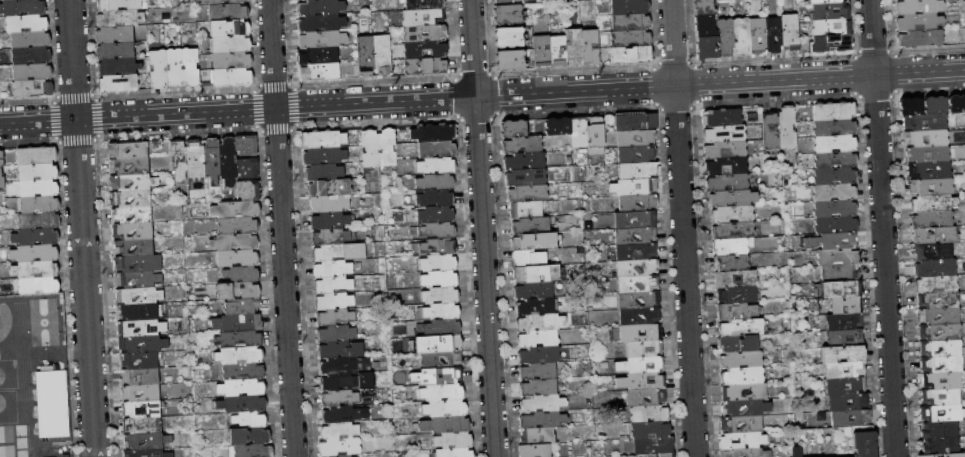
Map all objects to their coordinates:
building: (8, 0)
building: (300, 0)
building: (224, 2)
building: (514, 2)
building: (825, 2)
building: (424, 4)
building: (119, 5)
building: (629, 7)
building: (919, 7)
building: (964, 7)
building: (23, 8)
building: (320, 8)
building: (704, 8)
building: (831, 11)
building: (228, 13)
building: (508, 15)
building: (424, 17)
building: (120, 18)
building: (631, 23)
building: (919, 23)
building: (27, 24)
building: (321, 24)
building: (704, 26)
building: (832, 27)
building: (231, 29)
building: (790, 32)
building: (425, 34)
building: (115, 35)
building: (757, 36)
building: (774, 36)
building: (725, 37)
building: (742, 37)
building: (509, 38)
building: (631, 39)
building: (920, 39)
building: (30, 40)
building: (322, 40)
building: (832, 43)
building: (232, 45)
building: (574, 47)
building: (590, 47)
building: (706, 48)
building: (426, 50)
building: (542, 51)
building: (558, 51)
road: (929, 51)
building: (115, 52)
road: (874, 52)
road: (892, 53)
road: (854, 54)
building: (382, 55)
building: (632, 55)
building: (31, 56)
building: (318, 56)
building: (365, 56)
road: (773, 60)
building: (232, 61)
building: (510, 61)
road: (673, 64)
road: (691, 64)
road: (654, 65)
building: (117, 67)
building: (426, 67)
building: (191, 68)
building: (174, 69)
building: (158, 70)
road: (574, 71)
building: (32, 72)
building: (320, 73)
road: (894, 73)
road: (474, 74)
road: (493, 75)
road: (855, 75)
building: (233, 77)
road: (455, 77)
road: (374, 82)
building: (118, 83)
road: (694, 84)
road: (274, 85)
road: (292, 86)
road: (255, 87)
road: (655, 87)
building: (33, 89)
road: (930, 90)
road: (174, 93)
road: (894, 93)
road: (495, 95)
road: (857, 95)
road: (92, 96)
road: (482, 96)
road: (876, 96)
road: (74, 97)
road: (55, 98)
road: (457, 98)
road: (776, 99)
road: (27, 101)
building: (956, 104)
road: (694, 105)
building: (935, 105)
road: (294, 106)
road: (657, 107)
road: (675, 107)
building: (911, 107)
road: (256, 109)
building: (832, 109)
road: (576, 111)
building: (721, 115)
road: (495, 116)
road: (95, 117)
road: (476, 117)
road: (458, 118)
road: (56, 120)
road: (377, 122)
building: (925, 122)
building: (833, 125)
road: (295, 127)
building: (785, 127)
road: (276, 128)
road: (258, 129)
building: (555, 129)
building: (722, 130)
building: (769, 130)
building: (511, 131)
building: (593, 132)
road: (177, 133)
building: (430, 134)
building: (576, 134)
building: (633, 136)
road: (95, 138)
building: (927, 138)
road: (58, 140)
road: (76, 140)
building: (320, 140)
road: (28, 141)
building: (834, 141)
building: (521, 146)
building: (724, 146)
building: (244, 147)
building: (385, 148)
building: (369, 150)
building: (434, 150)
building: (126, 151)
building: (634, 151)
building: (928, 155)
building: (321, 156)
building: (34, 157)
building: (835, 158)
building: (225, 159)
building: (194, 160)
building: (210, 160)
building: (523, 161)
building: (177, 162)
building: (725, 163)
building: (435, 166)
building: (635, 167)
building: (126, 169)
building: (245, 169)
building: (930, 171)
building: (322, 172)
building: (34, 173)
building: (1, 175)
building: (833, 175)
building: (524, 179)
building: (726, 179)
building: (431, 183)
building: (633, 183)
building: (127, 185)
building: (943, 187)
building: (35, 189)
building: (327, 190)
building: (833, 191)
building: (247, 192)
building: (524, 195)
building: (731, 195)
building: (635, 199)
building: (432, 200)
building: (128, 202)
building: (934, 204)
building: (35, 205)
building: (327, 206)
building: (833, 206)
building: (524, 210)
building: (233, 211)
building: (729, 211)
building: (433, 216)
building: (631, 216)
building: (129, 217)
building: (933, 219)
building: (36, 221)
building: (328, 222)
building: (528, 223)
building: (834, 223)
building: (236, 227)
building: (729, 227)
road: (81, 228)
road: (281, 228)
road: (482, 228)
road: (682, 228)
road: (883, 228)
building: (434, 231)
building: (631, 232)
building: (129, 233)
building: (935, 236)
building: (32, 237)
building: (329, 238)
building: (531, 238)
building: (836, 239)
building: (731, 243)
building: (237, 244)
building: (434, 247)
building: (131, 249)
building: (633, 249)
building: (934, 252)
building: (33, 253)
building: (335, 255)
building: (527, 256)
building: (836, 256)
building: (729, 259)
building: (238, 260)
building: (136, 265)
building: (435, 265)
building: (633, 266)
building: (936, 268)
building: (33, 269)
building: (329, 271)
building: (837, 271)
building: (527, 272)
building: (237, 276)
building: (733, 276)
building: (137, 281)
building: (436, 282)
building: (634, 283)
building: (34, 285)
building: (937, 285)
building: (838, 286)
building: (330, 288)
building: (532, 289)
building: (238, 292)
building: (734, 293)
building: (138, 297)
building: (437, 298)
building: (634, 298)
building: (949, 301)
building: (330, 303)
building: (844, 303)
building: (533, 305)
building: (734, 309)
building: (240, 310)
building: (136, 314)
building: (438, 314)
building: (636, 315)
building: (950, 317)
building: (333, 319)
building: (841, 319)
park: (4, 320)
building: (533, 321)
park: (43, 322)
building: (737, 325)
building: (240, 327)
building: (140, 329)
building: (438, 331)
building: (637, 331)
building: (951, 333)
building: (334, 335)
building: (842, 335)
building: (534, 337)
building: (725, 342)
building: (744, 342)
building: (236, 343)
building: (141, 346)
building: (439, 346)
building: (640, 347)
building: (952, 349)
building: (337, 352)
building: (840, 352)
building: (535, 353)
building: (736, 357)
building: (237, 359)
building: (138, 362)
building: (439, 363)
building: (641, 363)
building: (953, 366)
building: (340, 367)
building: (536, 369)
building: (841, 369)
building: (240, 374)
building: (737, 374)
building: (139, 378)
building: (638, 380)
building: (438, 381)
building: (942, 381)
building: (342, 384)
building: (842, 385)
building: (536, 386)
building: (739, 390)
building: (241, 391)
building: (140, 395)
building: (642, 396)
building: (438, 397)
building: (941, 397)
building: (338, 401)
building: (843, 401)
building: (540, 402)
building: (51, 404)
building: (742, 406)
building: (242, 408)
building: (140, 411)
building: (645, 411)
building: (439, 413)
building: (942, 413)
building: (848, 417)
building: (339, 418)
building: (539, 418)
building: (740, 423)
building: (246, 426)
building: (140, 428)
building: (648, 428)
building: (442, 430)
building: (940, 430)
building: (536, 434)
building: (339, 435)
building: (742, 439)
park: (6, 441)
building: (146, 443)
building: (247, 443)
building: (863, 443)
building: (651, 445)
building: (448, 446)
building: (941, 446)
building: (531, 449)
building: (338, 450)
building: (743, 451)
building: (793, 451)
building: (253, 453)
building: (147, 454)
building: (450, 454)
building: (658, 455)
building: (956, 455)
building: (830, 456)
building: (928, 456)

